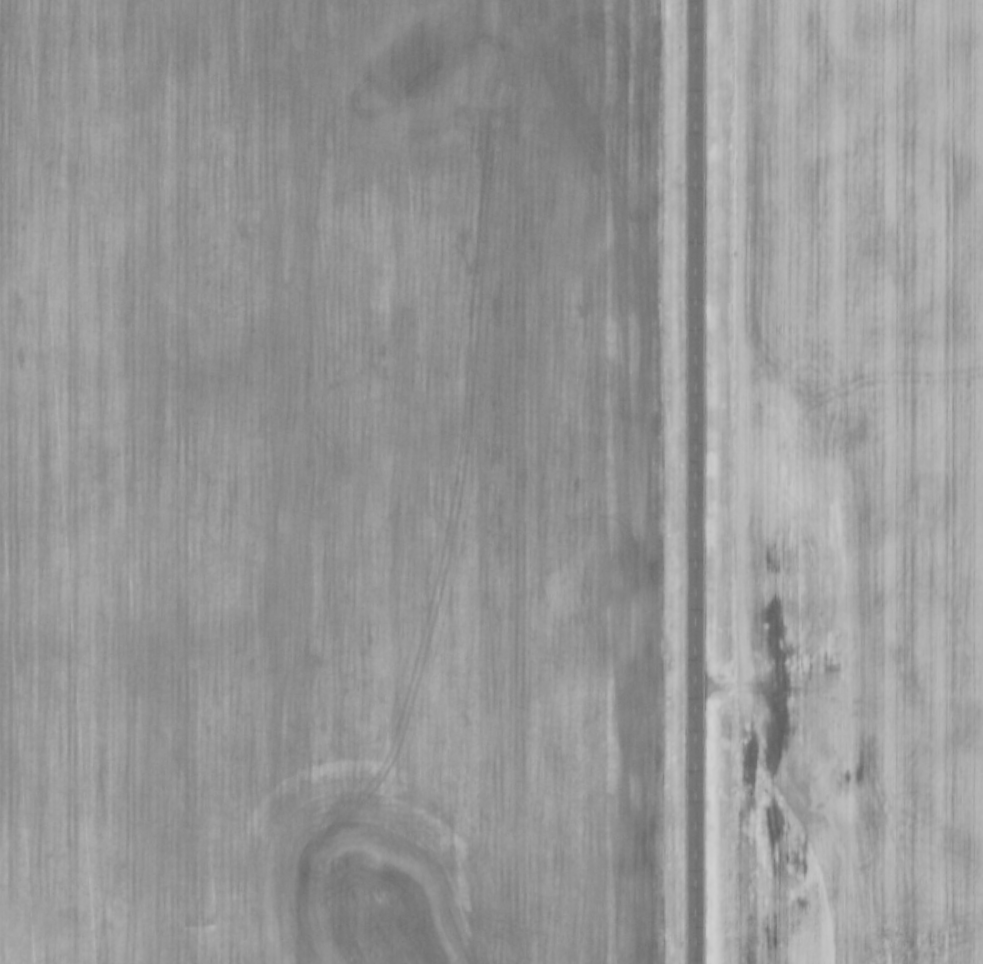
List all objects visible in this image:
road: (703, 481)

